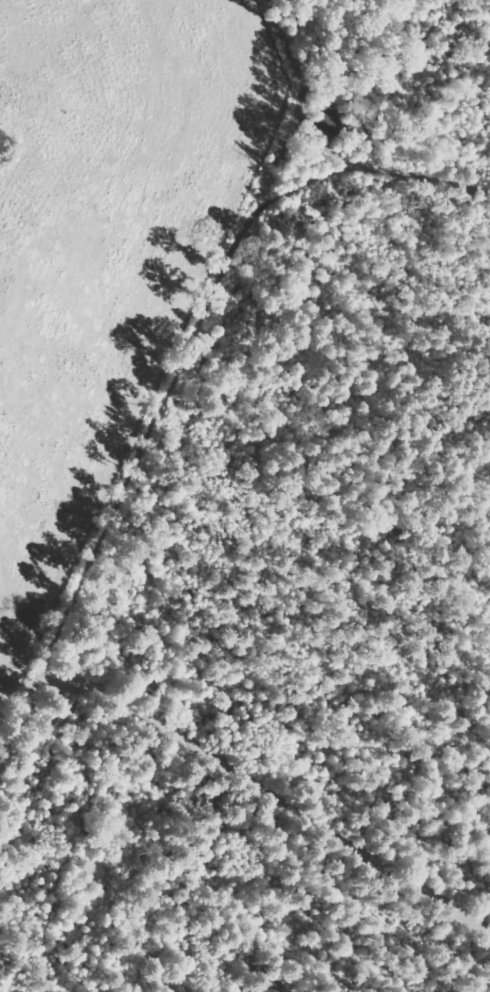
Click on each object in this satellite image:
road: (228, 816)

